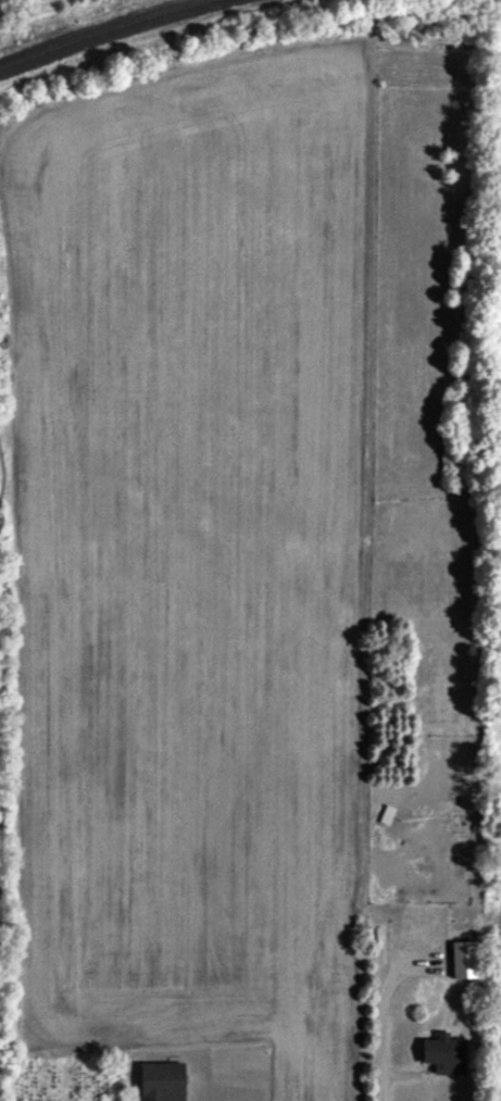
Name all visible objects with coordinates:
railway: (61, 23)
crop: (496, 550)
building: (464, 959)
road: (384, 1010)
building: (443, 1053)
building: (161, 1081)

